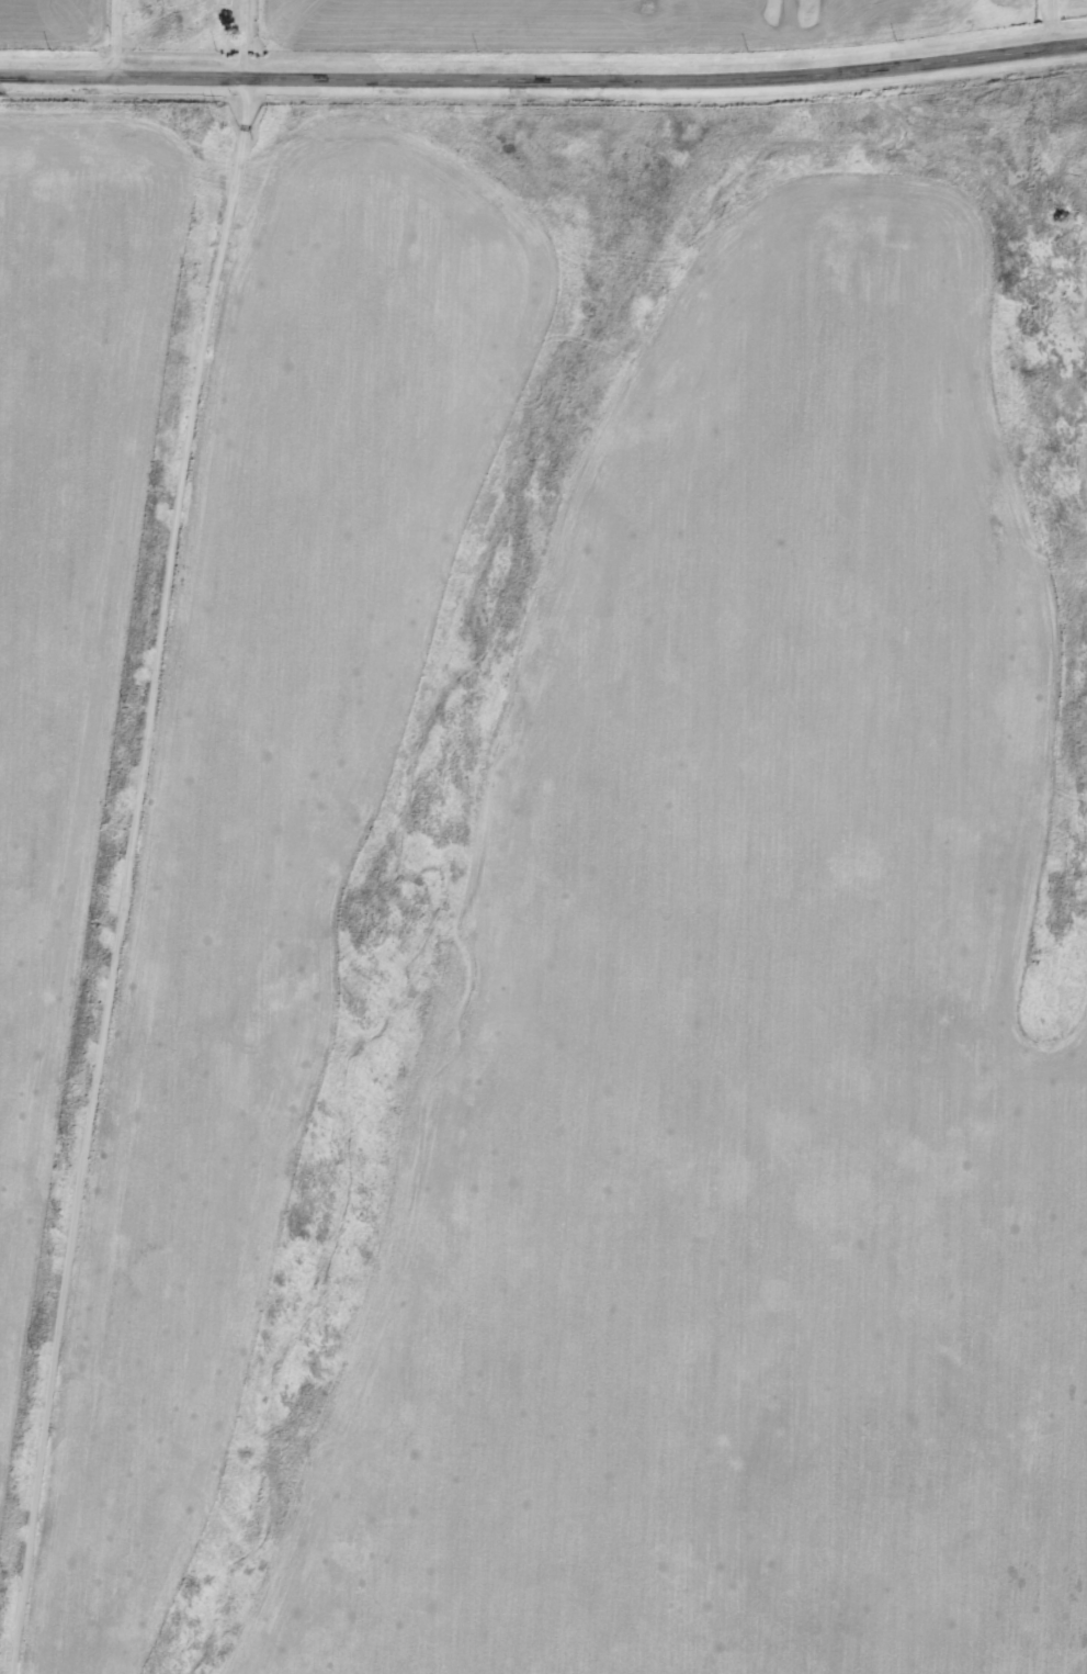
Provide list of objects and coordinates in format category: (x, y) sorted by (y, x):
road: (140, 38)
road: (231, 38)
road: (544, 80)

